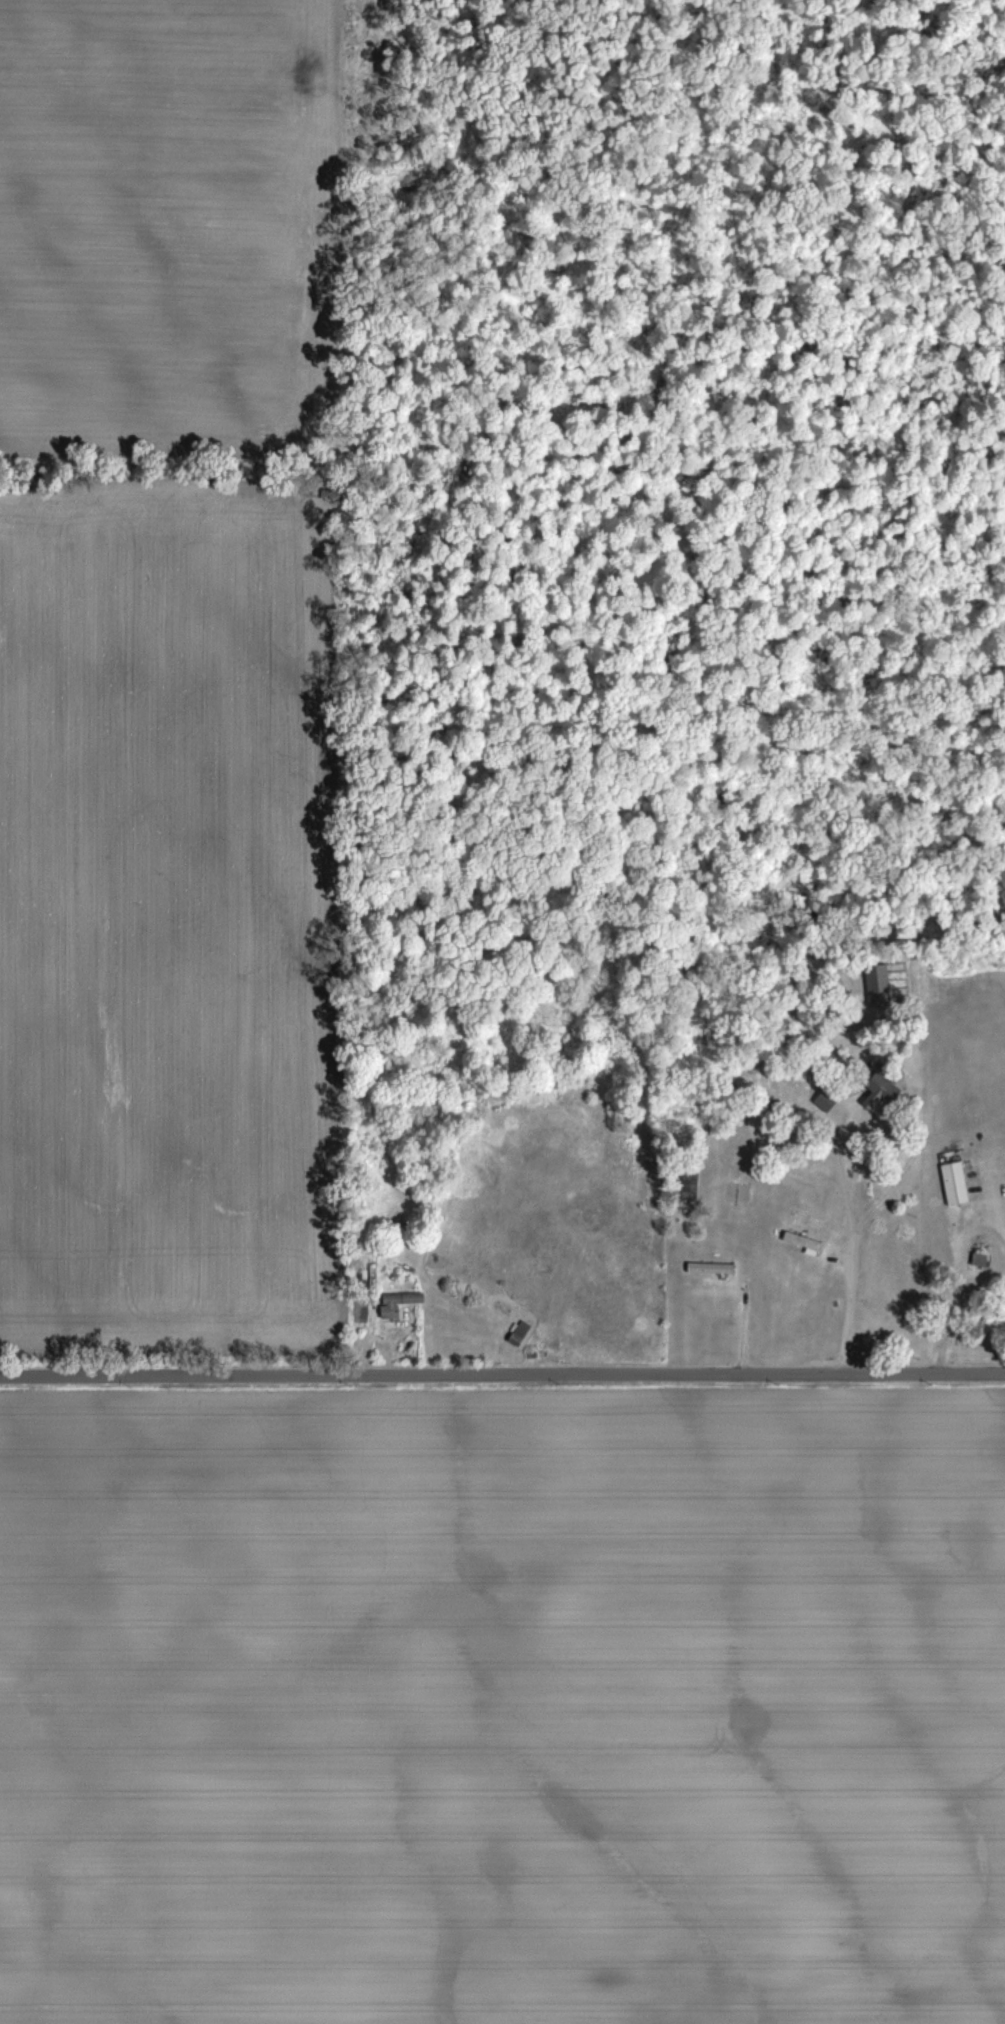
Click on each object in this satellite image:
crop: (167, 917)
building: (872, 1092)
building: (820, 1099)
building: (678, 1182)
building: (955, 1183)
road: (983, 1217)
building: (803, 1240)
building: (981, 1258)
road: (852, 1263)
building: (711, 1267)
building: (369, 1270)
road: (950, 1288)
building: (402, 1297)
building: (390, 1312)
road: (746, 1321)
building: (521, 1330)
road: (1004, 1349)
road: (502, 1374)

